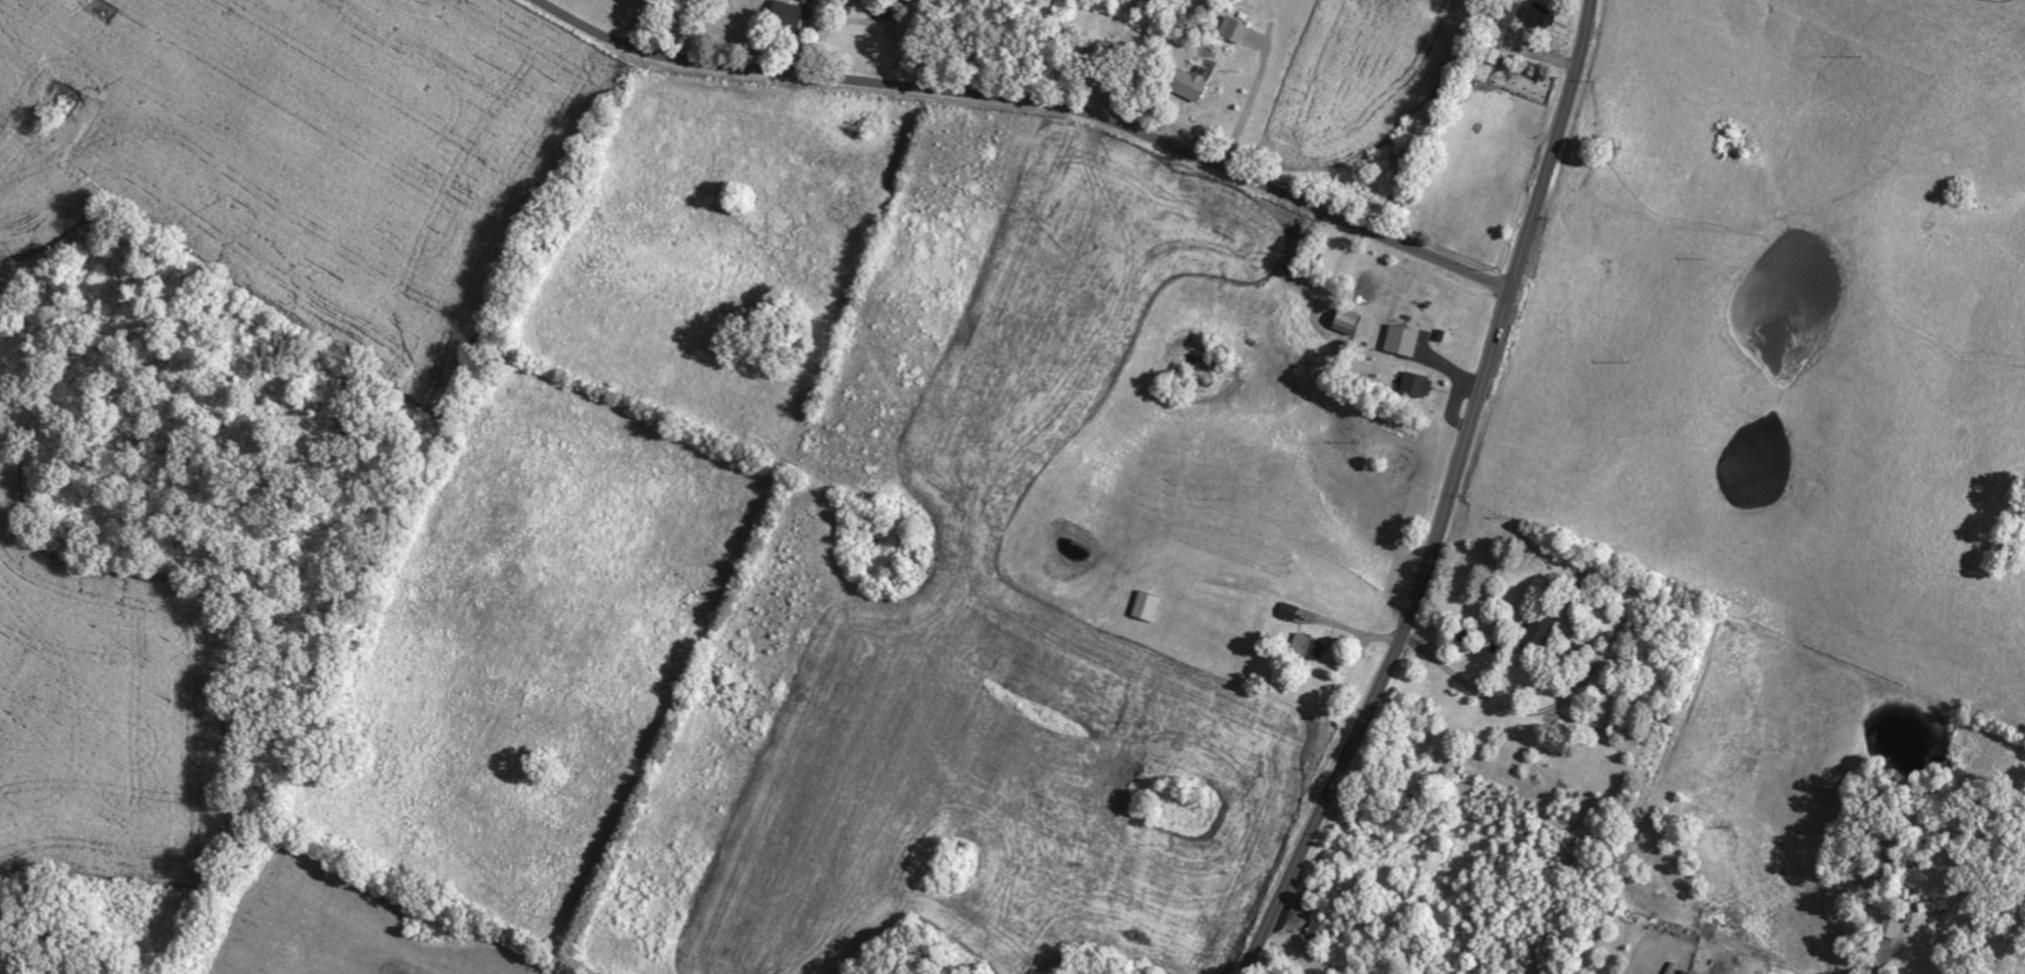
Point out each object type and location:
building: (790, 15)
building: (1543, 15)
building: (1237, 28)
building: (1197, 84)
road: (1034, 102)
road: (1248, 103)
building: (1352, 322)
building: (1406, 340)
building: (1420, 384)
road: (1448, 498)
building: (1150, 606)
building: (1292, 611)
road: (1346, 637)
building: (1312, 646)
road: (1496, 703)
building: (1893, 927)
building: (1319, 930)
road: (1872, 965)
building: (1688, 972)

